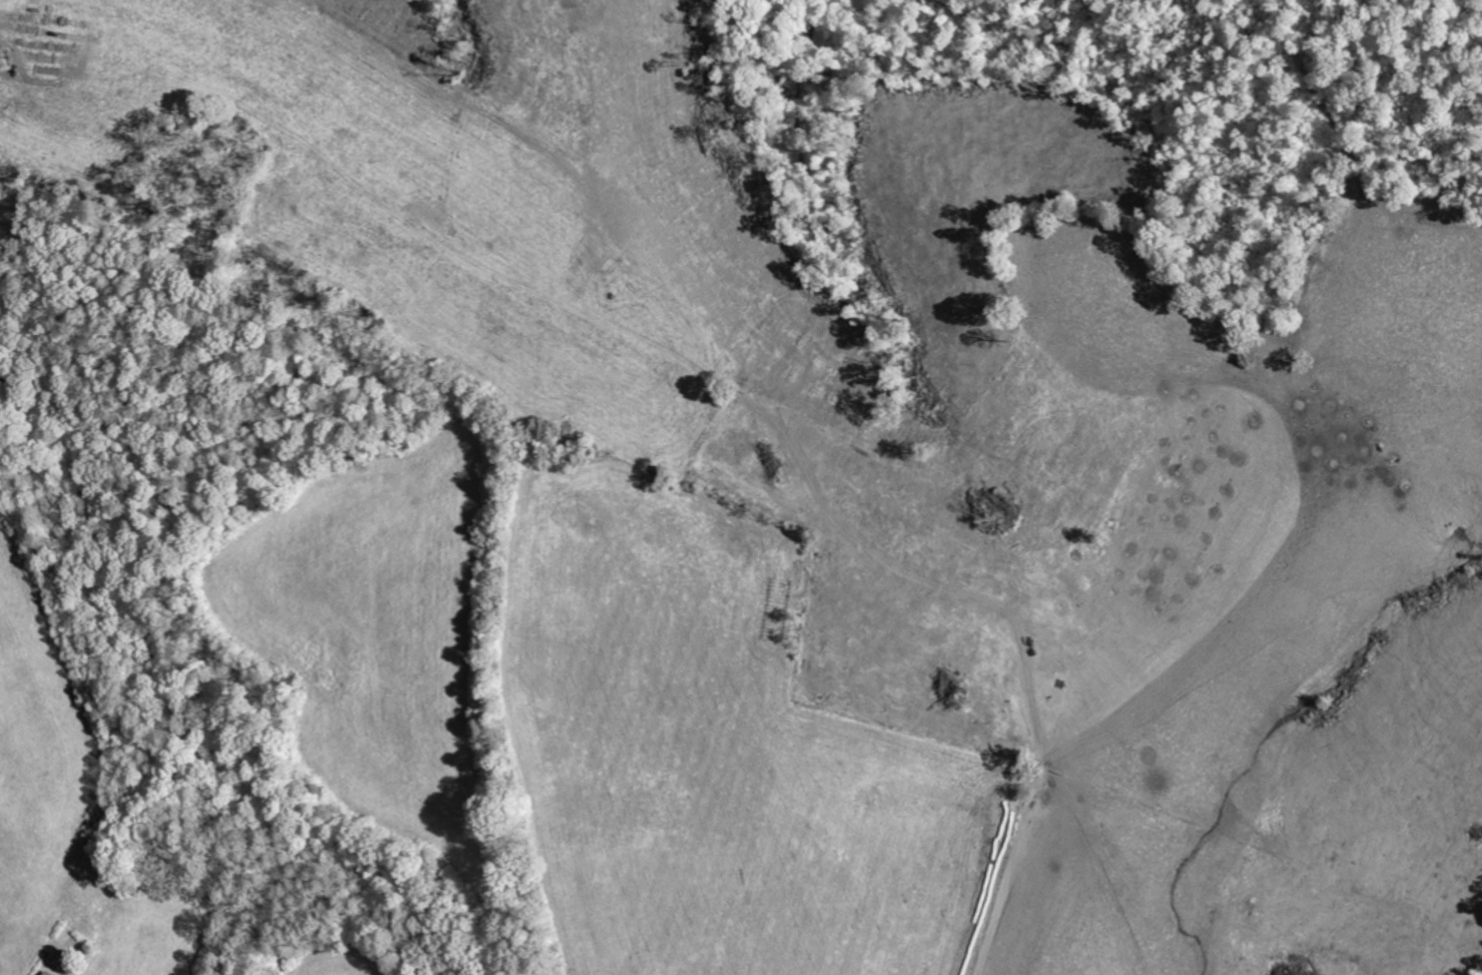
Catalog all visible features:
road: (1282, 389)
road: (1051, 727)
building: (61, 958)

